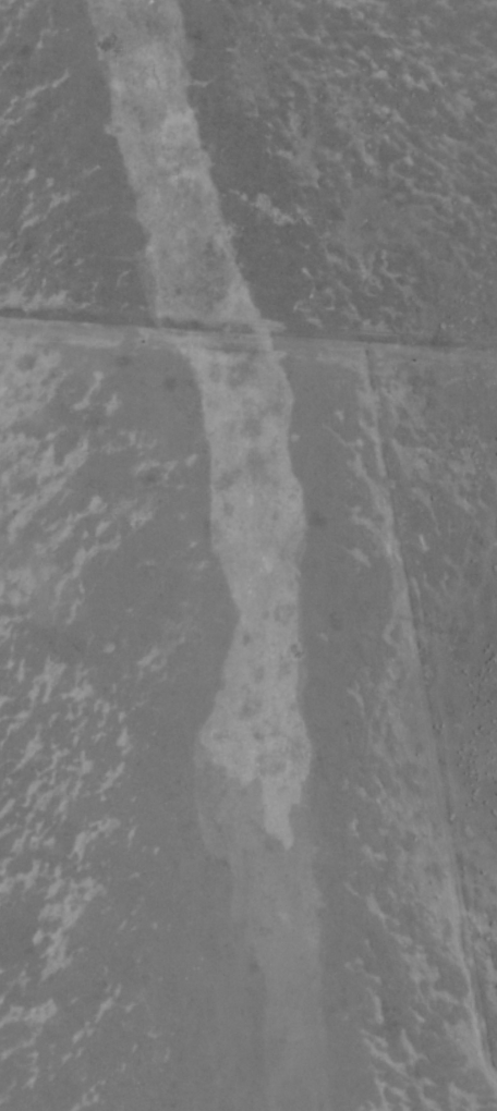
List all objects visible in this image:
road: (247, 402)

